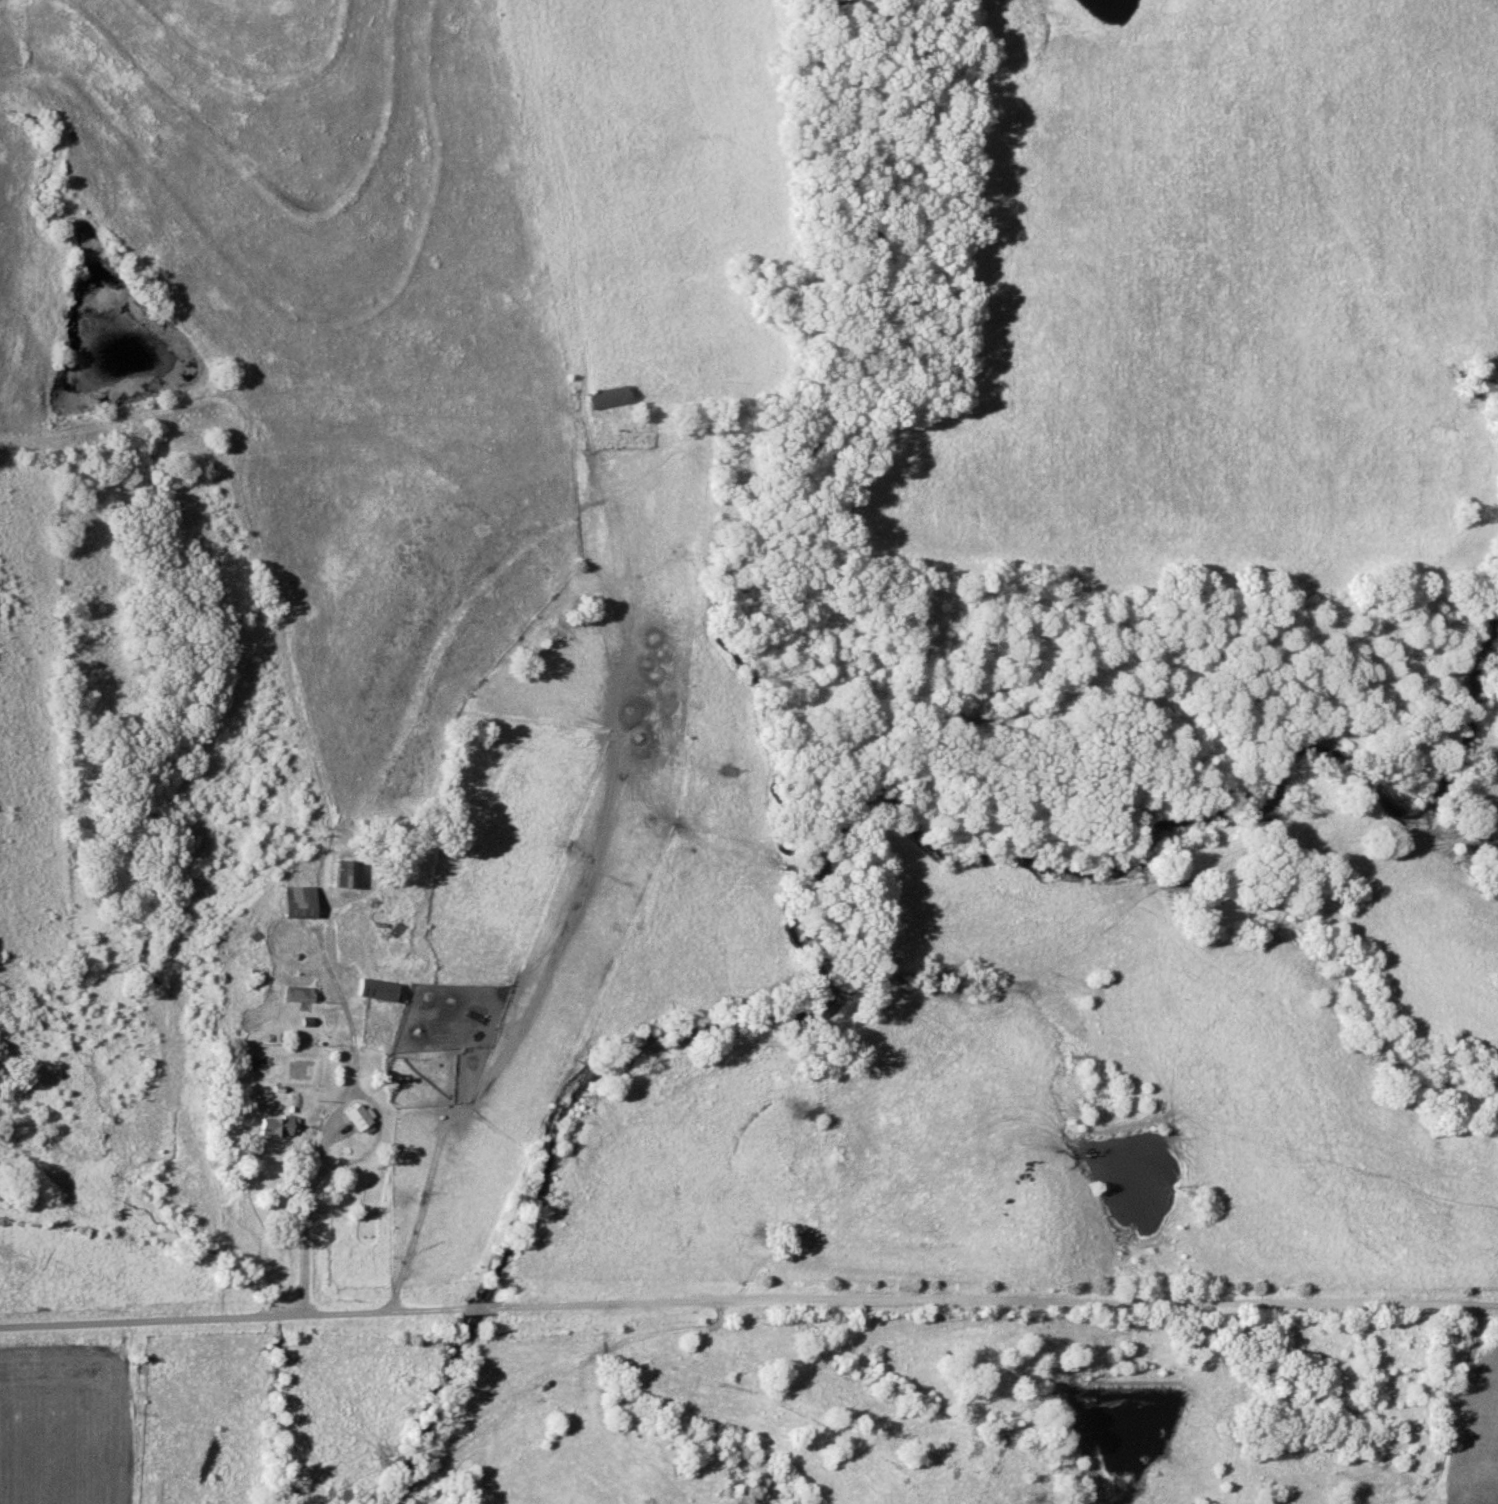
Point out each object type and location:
building: (607, 397)
building: (296, 901)
building: (375, 990)
building: (359, 1118)
road: (311, 1196)
road: (749, 1294)
road: (1466, 1365)

